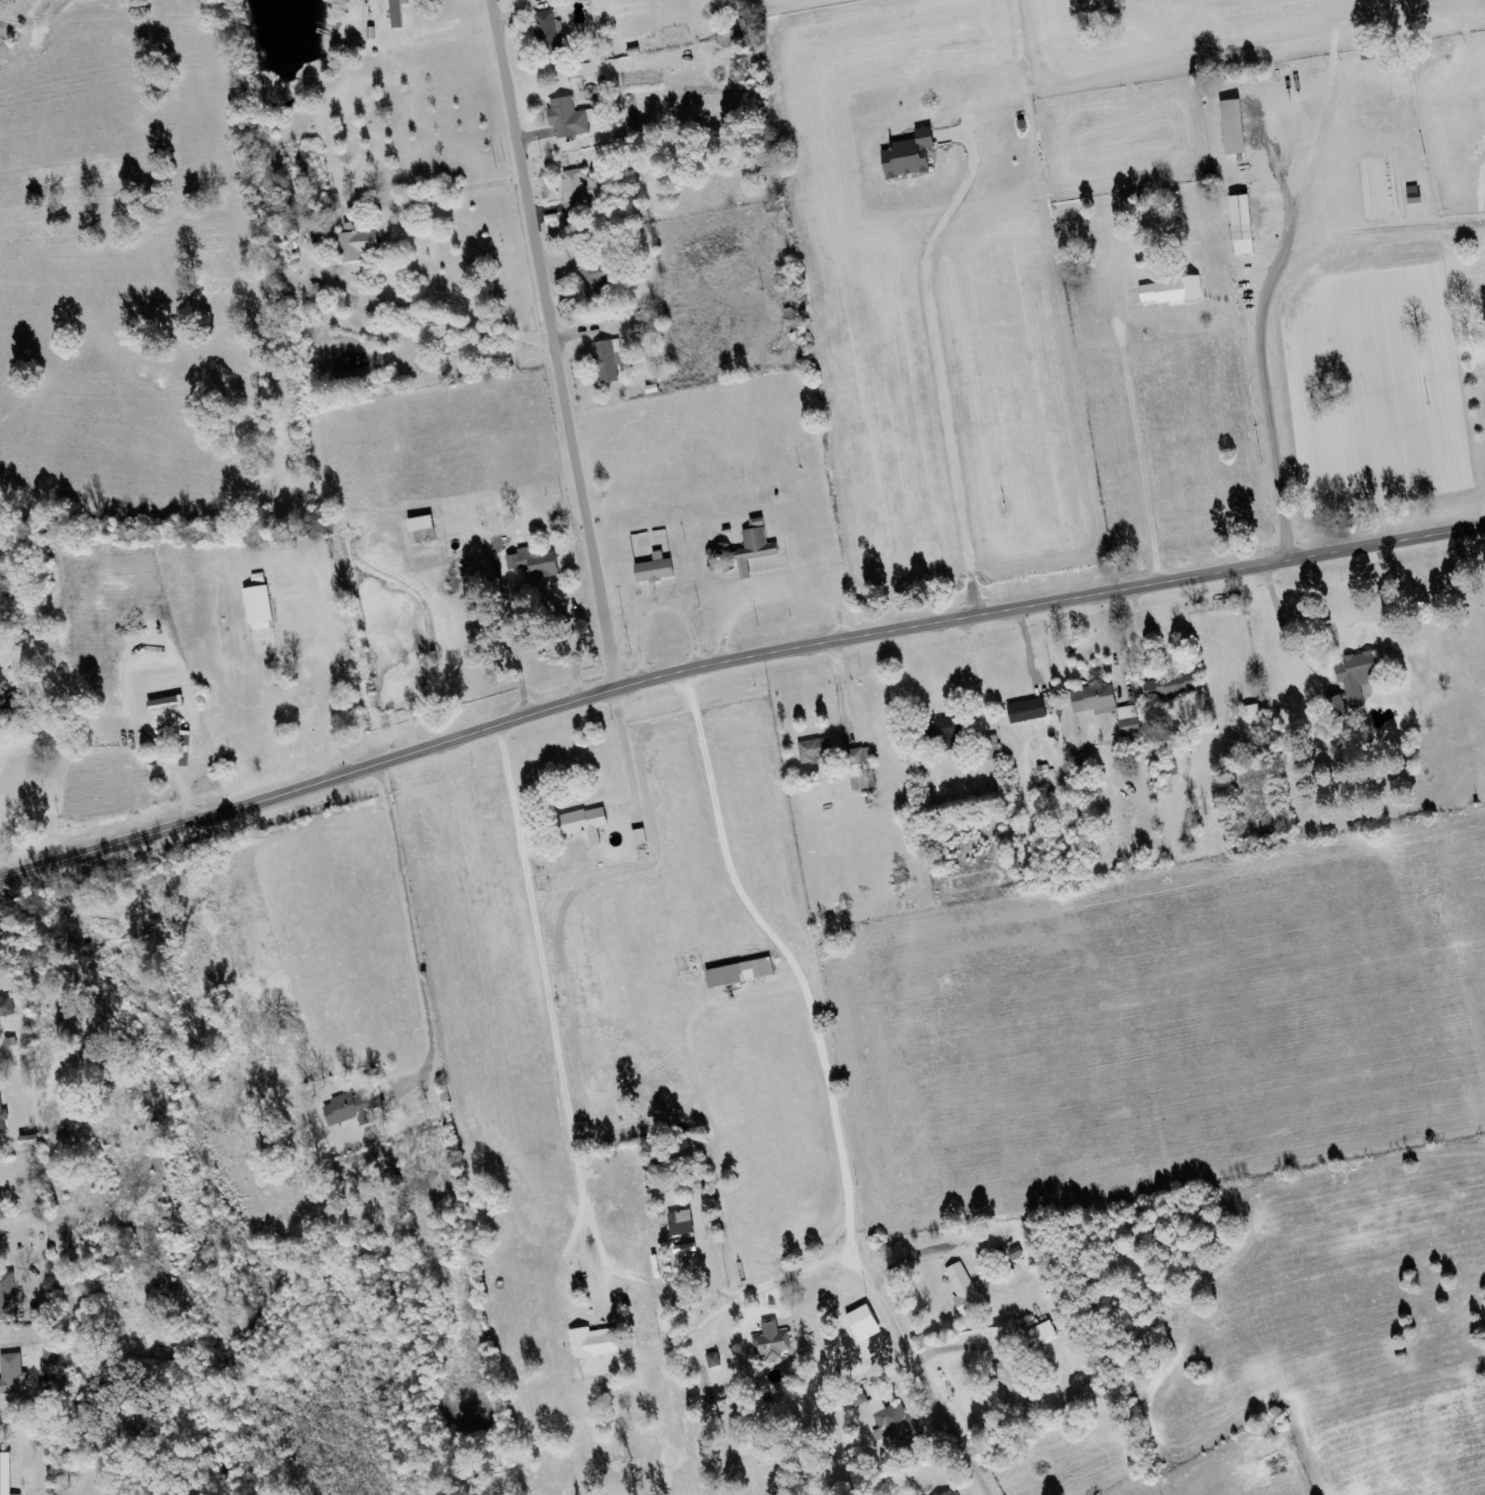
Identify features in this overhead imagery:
building: (728, 2)
building: (395, 13)
building: (549, 34)
building: (568, 119)
building: (1230, 128)
building: (905, 156)
building: (578, 187)
building: (1410, 196)
building: (1239, 226)
building: (354, 244)
building: (591, 280)
building: (1168, 291)
building: (1484, 299)
road: (584, 345)
building: (607, 361)
building: (419, 530)
building: (740, 552)
building: (532, 568)
road: (986, 569)
building: (652, 570)
building: (255, 606)
road: (709, 619)
road: (733, 662)
building: (1353, 678)
building: (1166, 687)
building: (1091, 701)
building: (1334, 707)
building: (1024, 711)
building: (1249, 719)
building: (1127, 721)
building: (940, 734)
building: (812, 752)
building: (859, 769)
building: (582, 824)
road: (785, 957)
building: (736, 974)
building: (7, 1007)
building: (352, 1110)
building: (3, 1118)
building: (3, 1207)
building: (685, 1223)
road: (601, 1288)
building: (969, 1291)
building: (10, 1298)
building: (1044, 1332)
building: (1013, 1333)
building: (774, 1342)
building: (598, 1343)
building: (717, 1361)
building: (52, 1362)
building: (15, 1376)
building: (1010, 1380)
building: (901, 1428)
building: (7, 1474)
building: (946, 1493)

